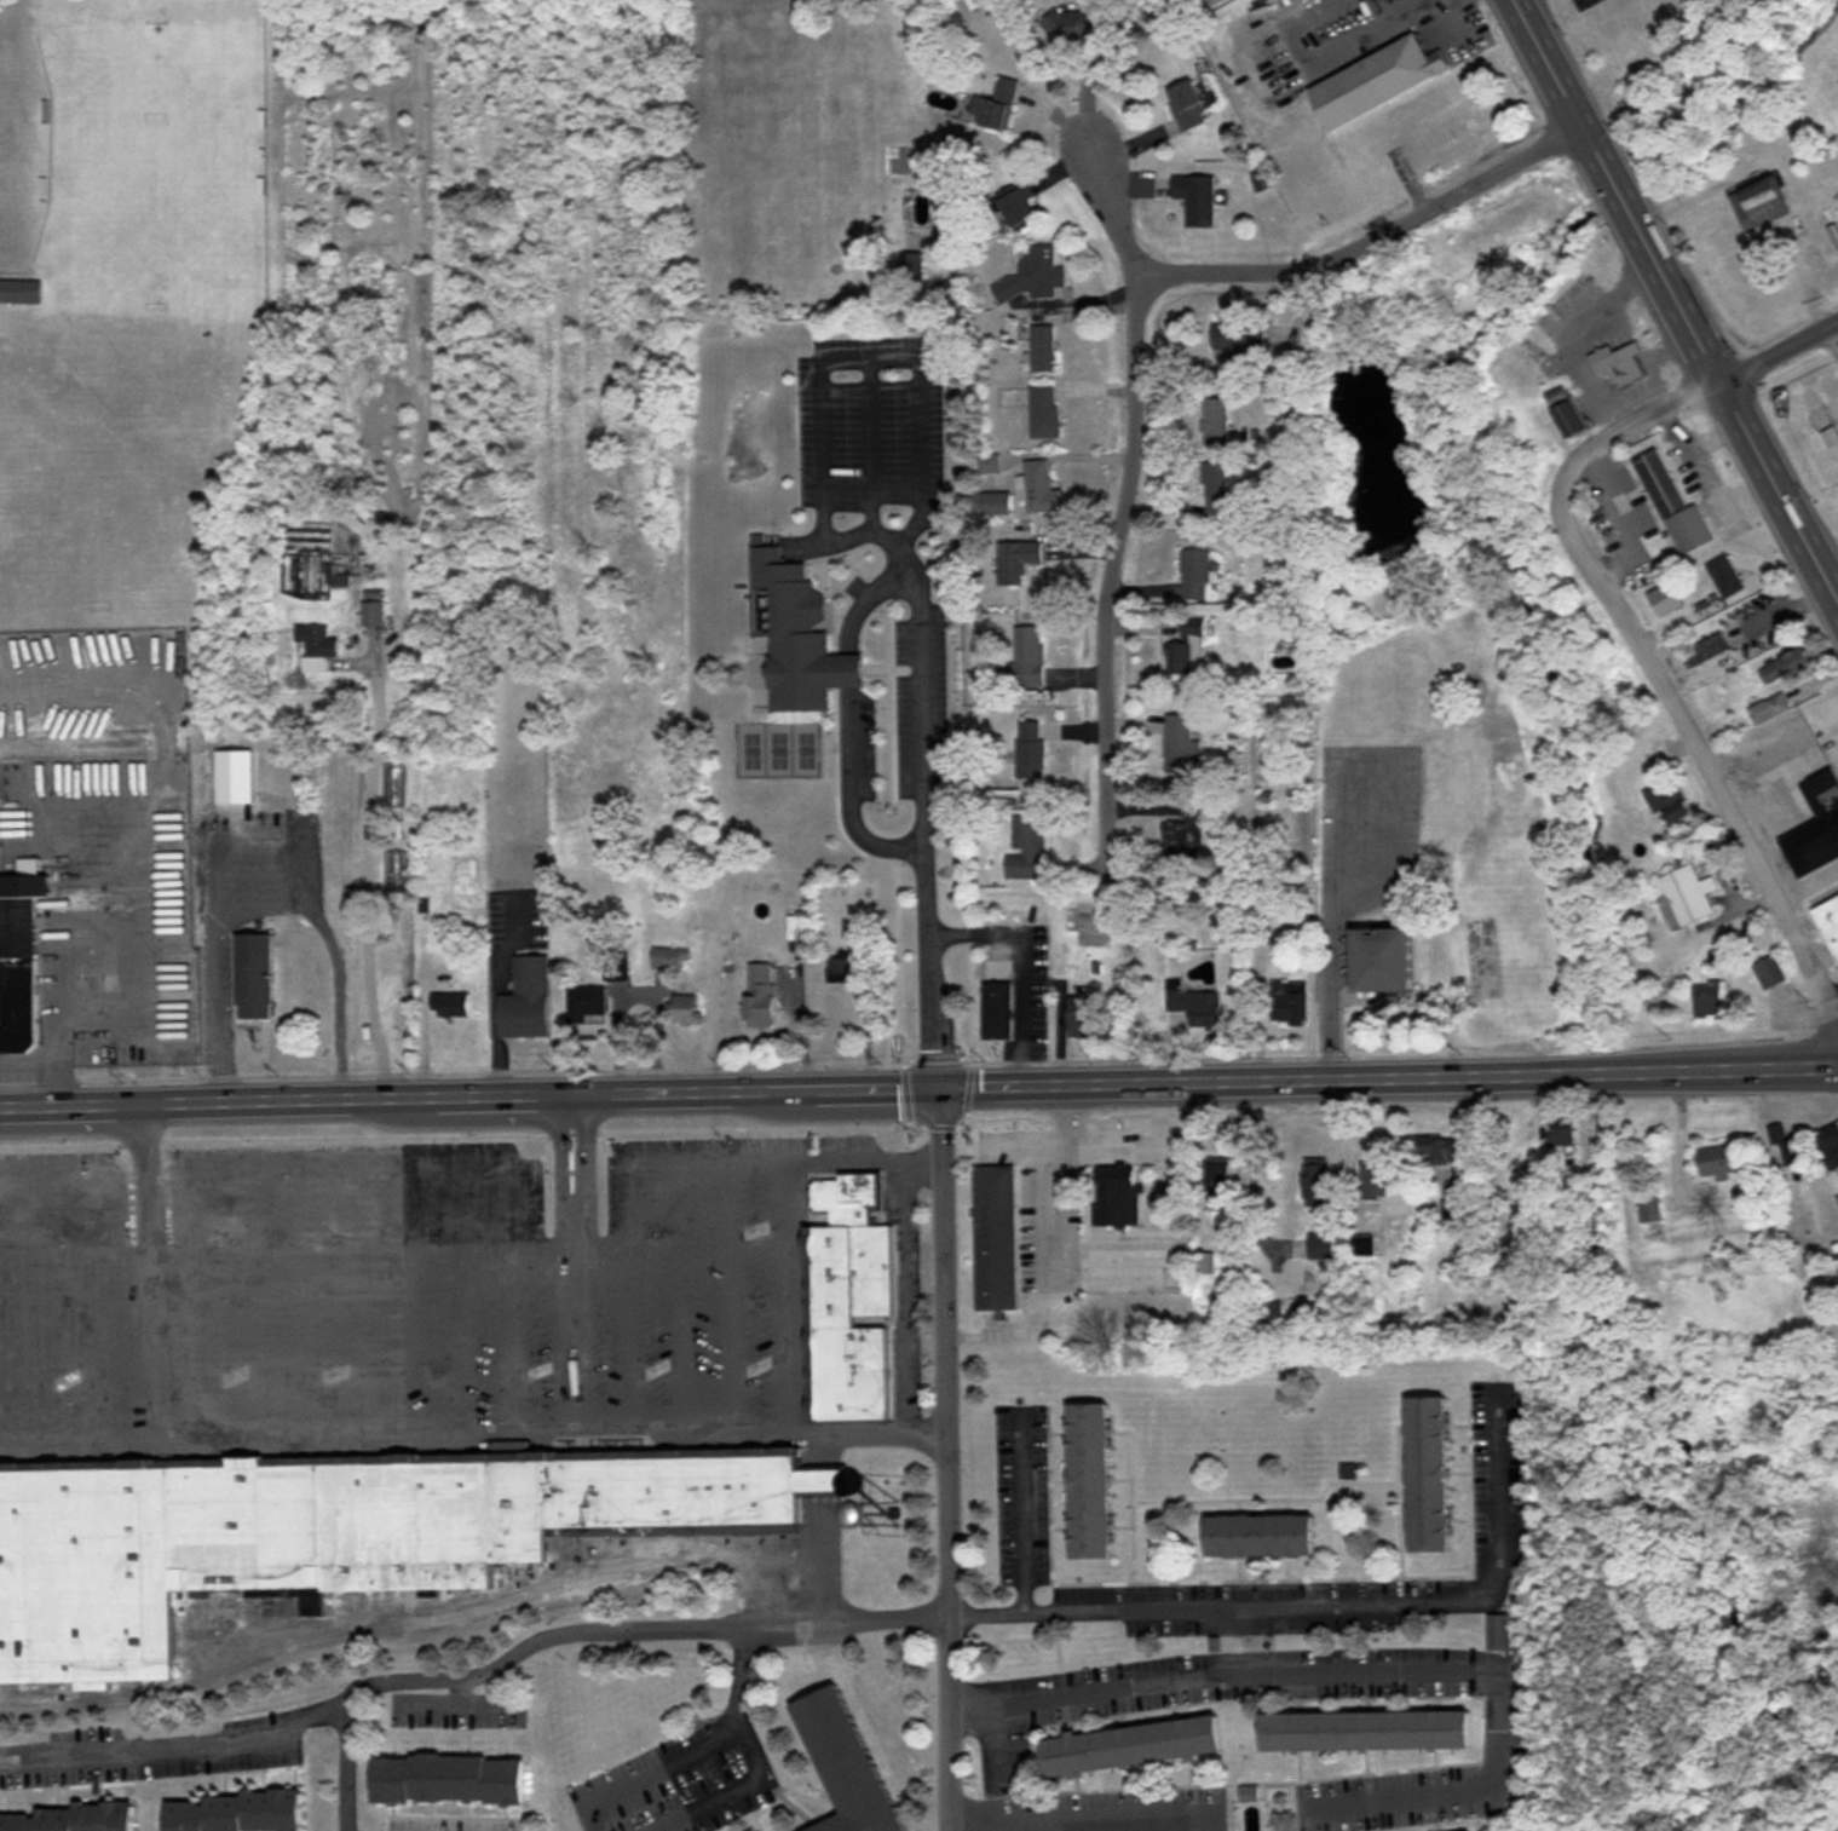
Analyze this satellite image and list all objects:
building: (1078, 24)
building: (1379, 81)
building: (998, 105)
building: (1189, 105)
building: (1402, 119)
building: (1198, 197)
building: (1762, 203)
building: (1020, 208)
road: (1371, 237)
building: (910, 261)
building: (1032, 276)
building: (21, 290)
road: (1676, 301)
building: (1239, 339)
road: (1777, 349)
building: (1043, 350)
building: (1619, 364)
building: (1044, 413)
building: (1568, 414)
road: (1647, 419)
building: (1216, 421)
building: (1830, 434)
building: (1216, 479)
building: (1661, 484)
building: (1039, 489)
road: (1125, 505)
building: (1020, 563)
building: (1195, 575)
building: (1725, 577)
building: (338, 581)
building: (371, 614)
building: (796, 635)
building: (315, 643)
building: (1188, 649)
building: (1707, 650)
building: (1027, 657)
building: (1786, 666)
building: (1769, 709)
road: (914, 726)
road: (1684, 739)
building: (1180, 742)
building: (1031, 750)
building: (1670, 806)
road: (846, 807)
building: (1816, 827)
building: (1187, 829)
building: (1025, 848)
road: (375, 851)
building: (1683, 898)
building: (1830, 920)
road: (972, 929)
building: (669, 958)
building: (1387, 960)
building: (615, 966)
building: (841, 971)
building: (1771, 972)
building: (253, 977)
building: (761, 995)
building: (526, 1000)
building: (1290, 1001)
building: (1707, 1001)
road: (1834, 1001)
building: (587, 1004)
building: (451, 1006)
building: (1197, 1006)
building: (686, 1009)
road: (926, 1009)
building: (996, 1012)
building: (1084, 1018)
road: (45, 1067)
road: (918, 1089)
building: (1563, 1136)
building: (1786, 1146)
building: (1831, 1148)
building: (1439, 1150)
road: (787, 1158)
road: (361, 1163)
building: (1719, 1163)
road: (586, 1170)
road: (559, 1171)
road: (105, 1181)
building: (1378, 1182)
building: (1220, 1184)
building: (1316, 1185)
building: (1118, 1197)
road: (630, 1202)
building: (1534, 1203)
building: (1650, 1210)
building: (996, 1238)
road: (603, 1244)
building: (1360, 1245)
building: (1321, 1246)
road: (732, 1288)
road: (681, 1289)
road: (791, 1294)
road: (359, 1297)
road: (309, 1299)
road: (259, 1300)
building: (849, 1302)
road: (46, 1307)
road: (632, 1330)
road: (465, 1338)
road: (513, 1338)
road: (413, 1340)
road: (208, 1342)
road: (108, 1345)
road: (675, 1417)
road: (198, 1435)
road: (75, 1436)
road: (945, 1459)
building: (1430, 1475)
building: (1091, 1481)
road: (1021, 1513)
building: (318, 1533)
building: (1262, 1537)
road: (1324, 1606)
road: (409, 1620)
building: (1499, 1631)
road: (741, 1671)
road: (1367, 1671)
road: (474, 1677)
road: (459, 1691)
road: (457, 1702)
building: (1369, 1728)
building: (1134, 1744)
building: (847, 1766)
road: (345, 1767)
road: (651, 1770)
building: (450, 1778)
road: (734, 1791)
building: (234, 1812)
building: (71, 1816)
road: (1078, 1821)

